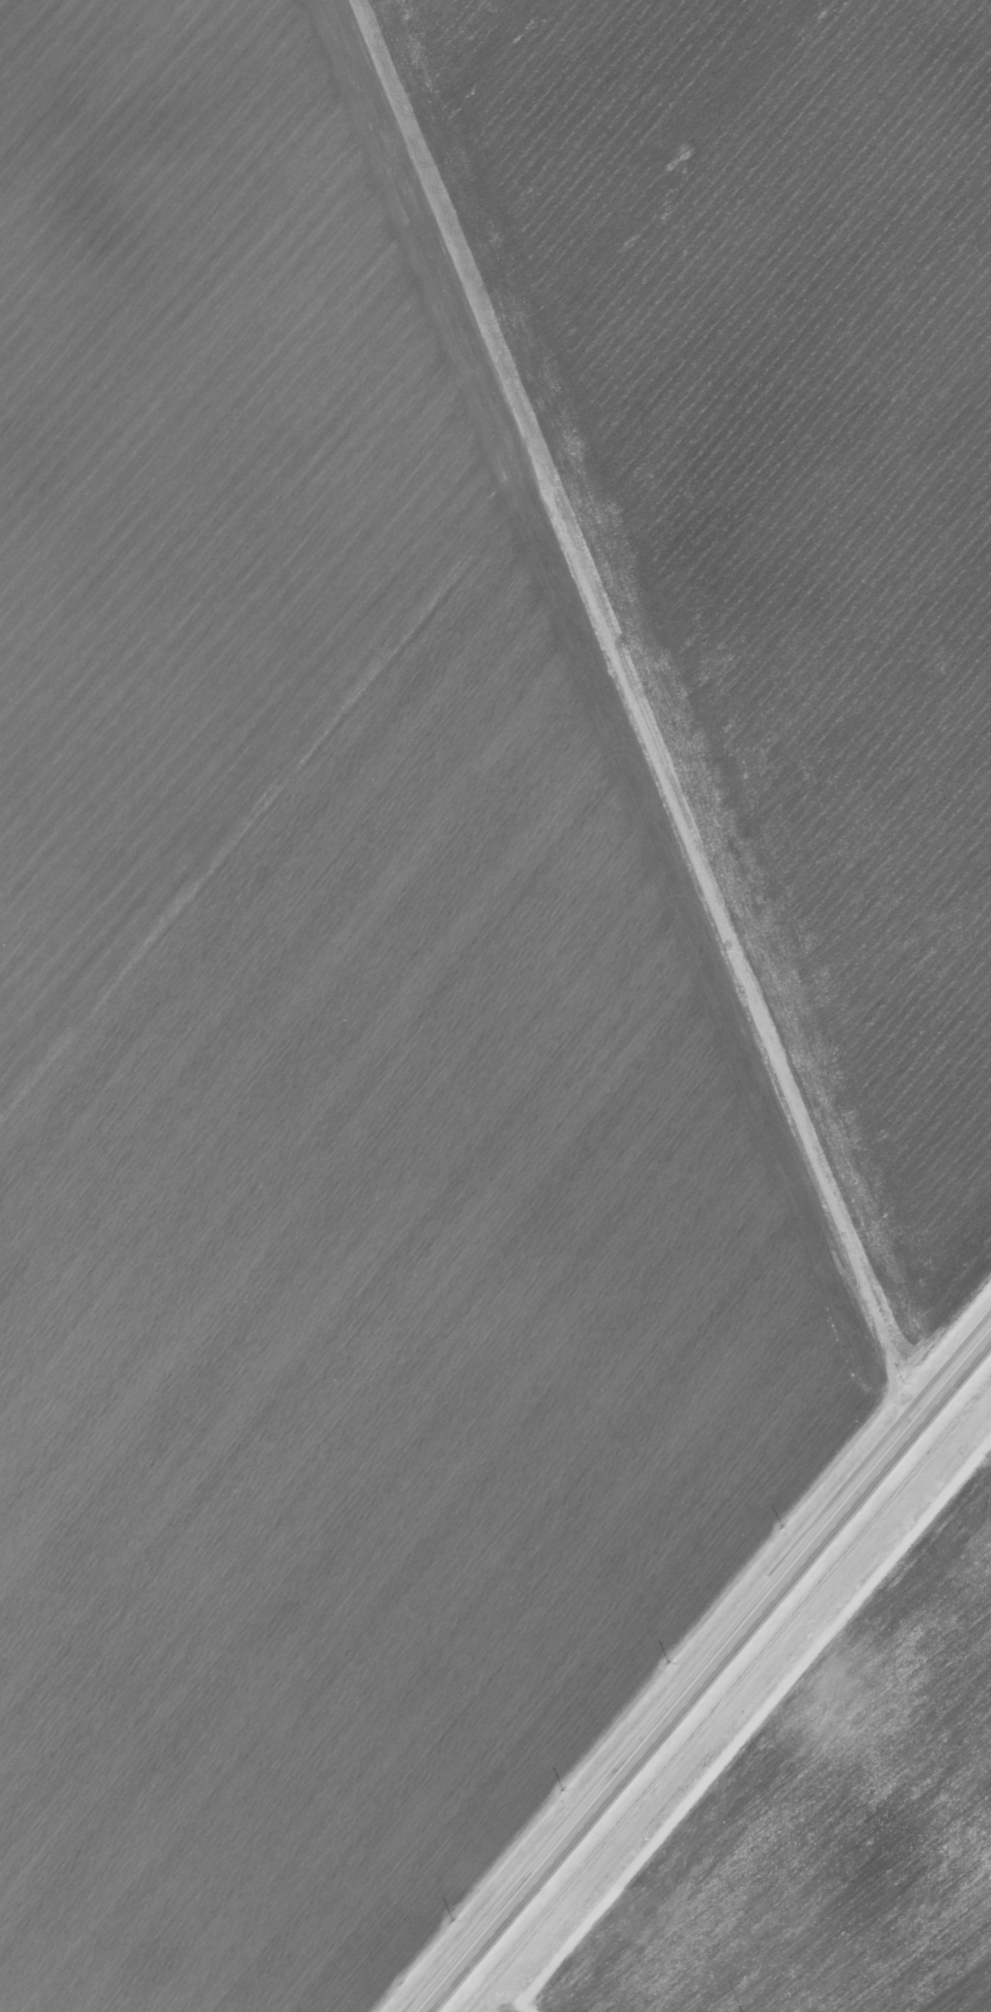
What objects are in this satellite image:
road: (710, 1678)
railway: (742, 1714)

